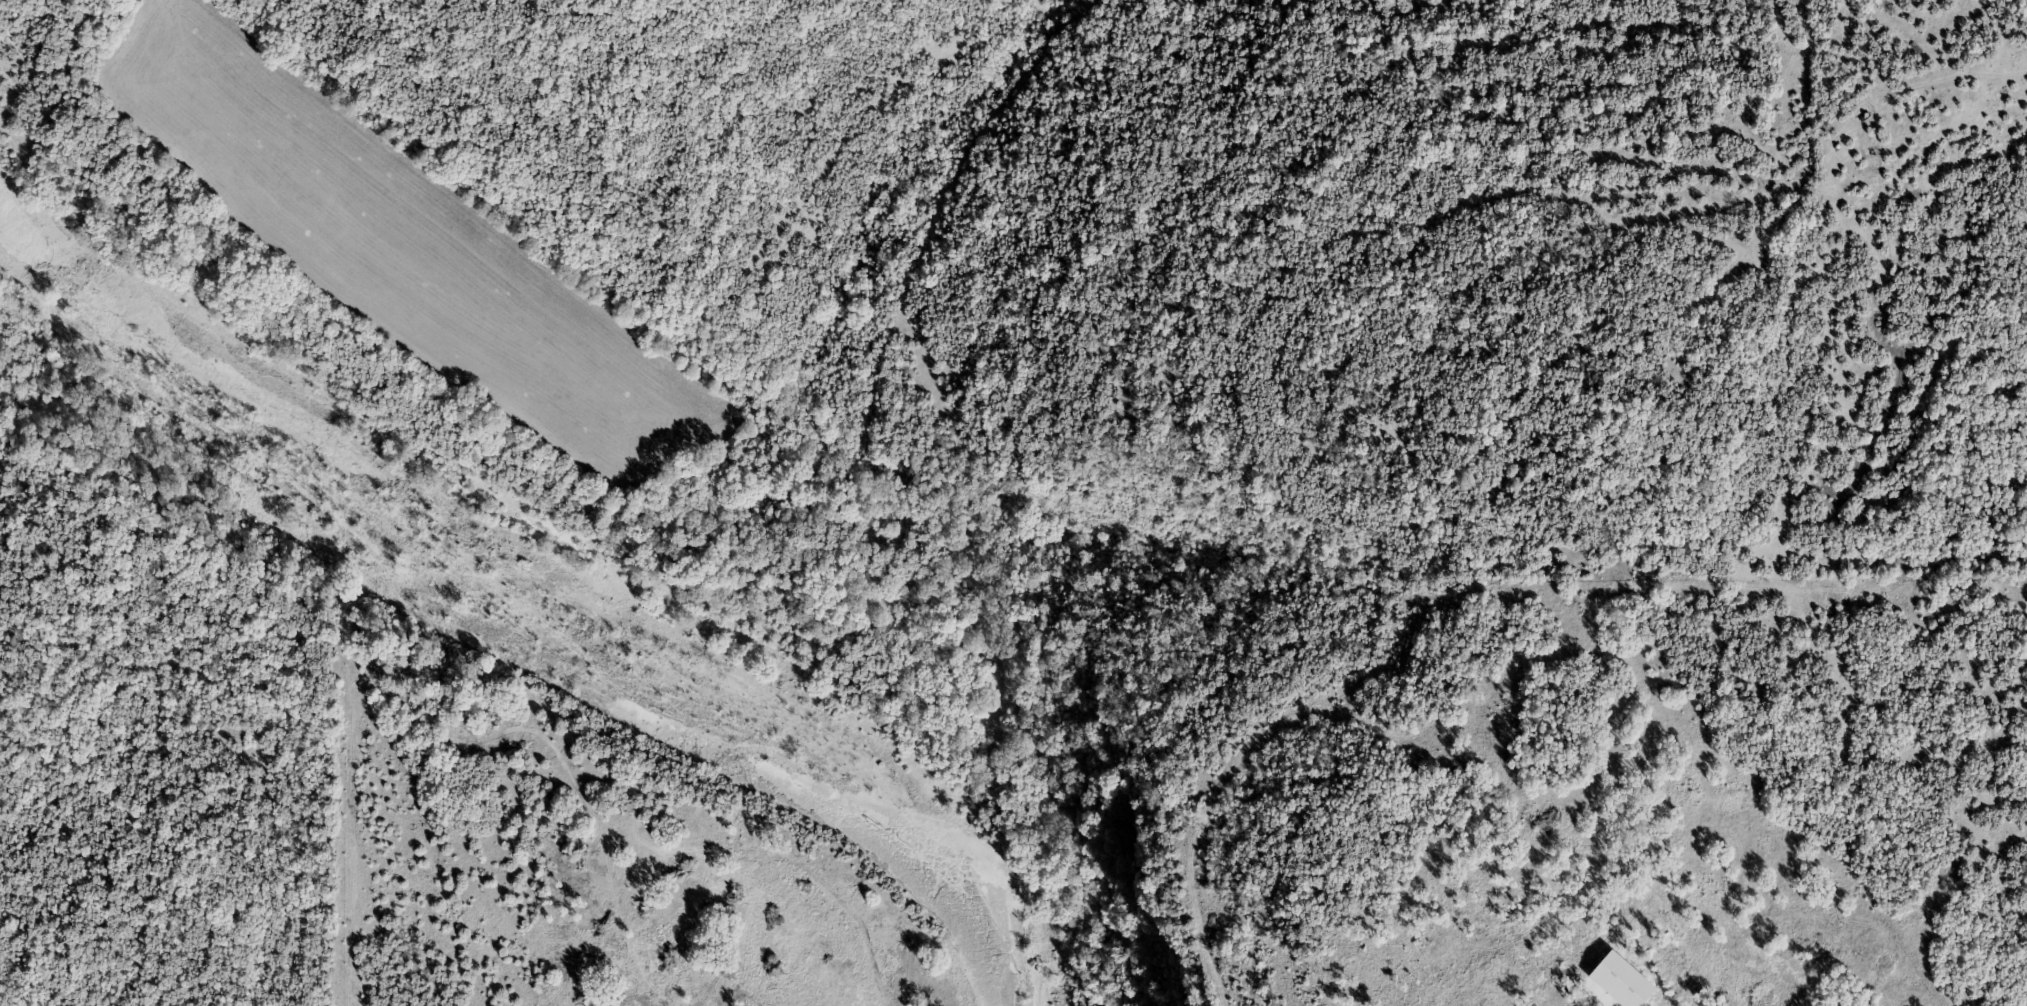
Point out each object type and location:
river: (539, 583)
building: (1617, 983)

